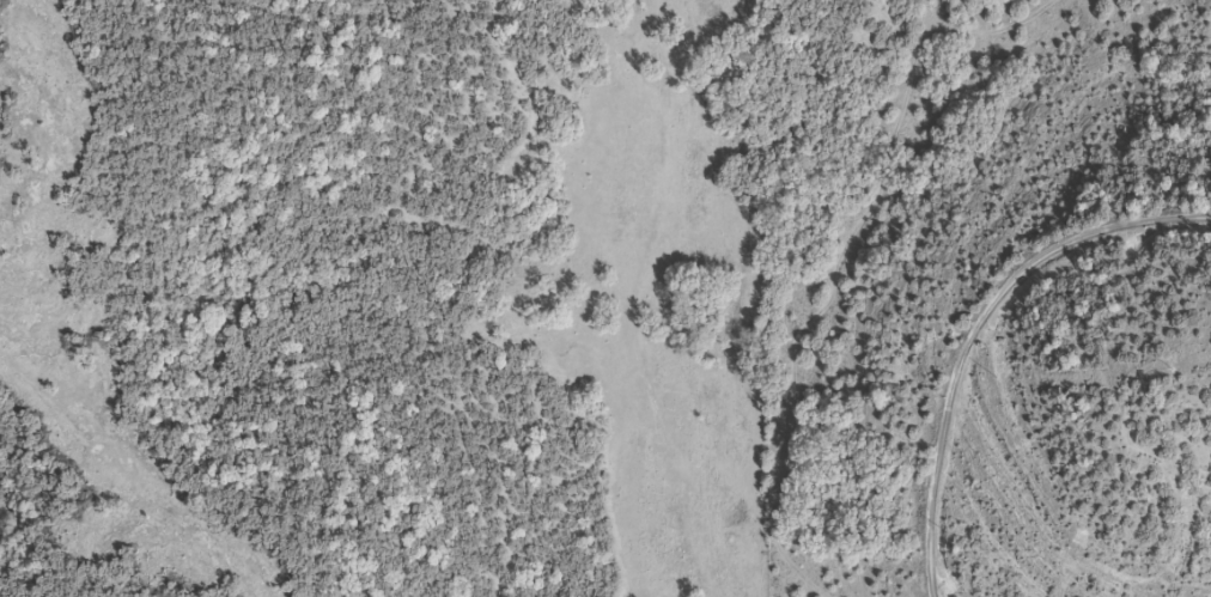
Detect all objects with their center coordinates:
road: (976, 328)
road: (645, 495)

